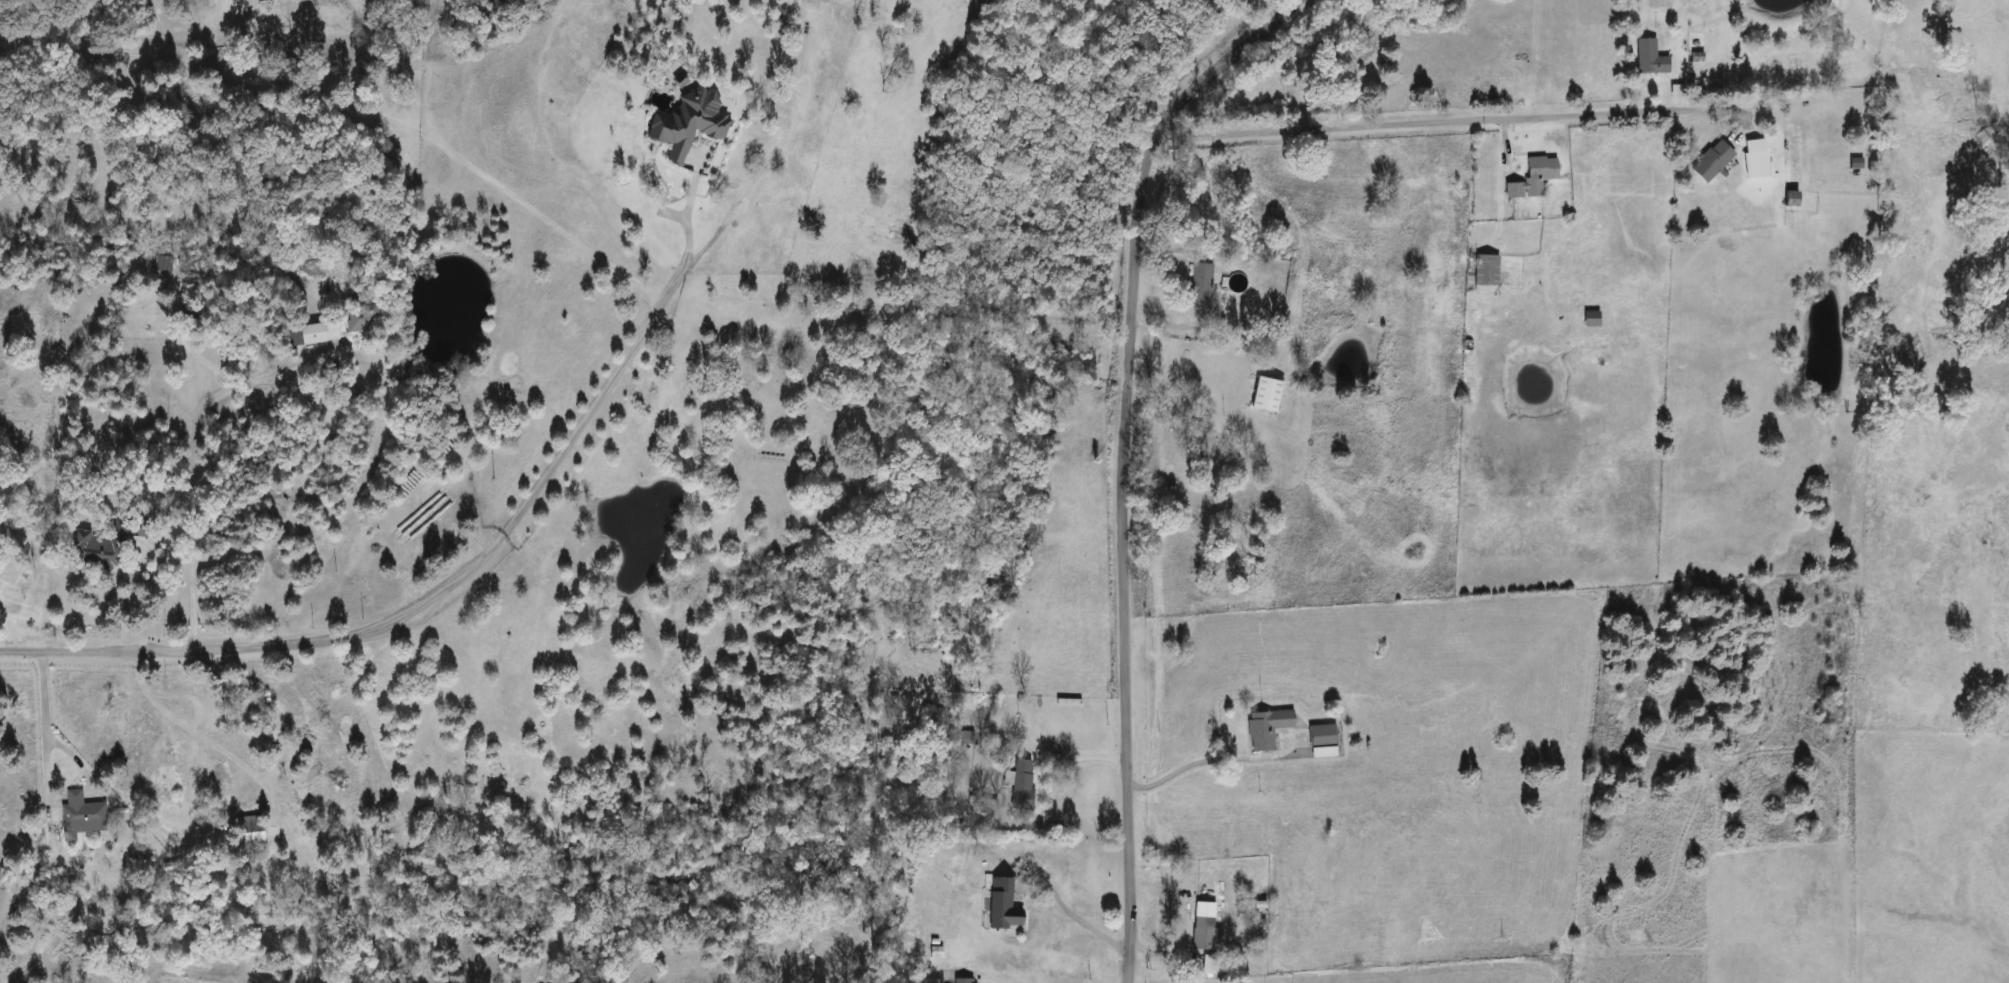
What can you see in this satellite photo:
building: (1648, 59)
road: (1455, 115)
building: (684, 125)
building: (1752, 159)
building: (1709, 163)
building: (1530, 178)
road: (687, 212)
building: (1484, 272)
building: (1198, 287)
building: (1268, 294)
building: (362, 317)
building: (318, 333)
building: (1587, 352)
building: (1262, 394)
road: (1123, 457)
road: (186, 465)
building: (96, 549)
road: (148, 595)
road: (427, 608)
road: (42, 725)
building: (1265, 728)
building: (1320, 736)
road: (1184, 762)
building: (1021, 785)
building: (85, 814)
building: (247, 829)
building: (1002, 906)
road: (1074, 915)
building: (1204, 934)
building: (962, 981)

